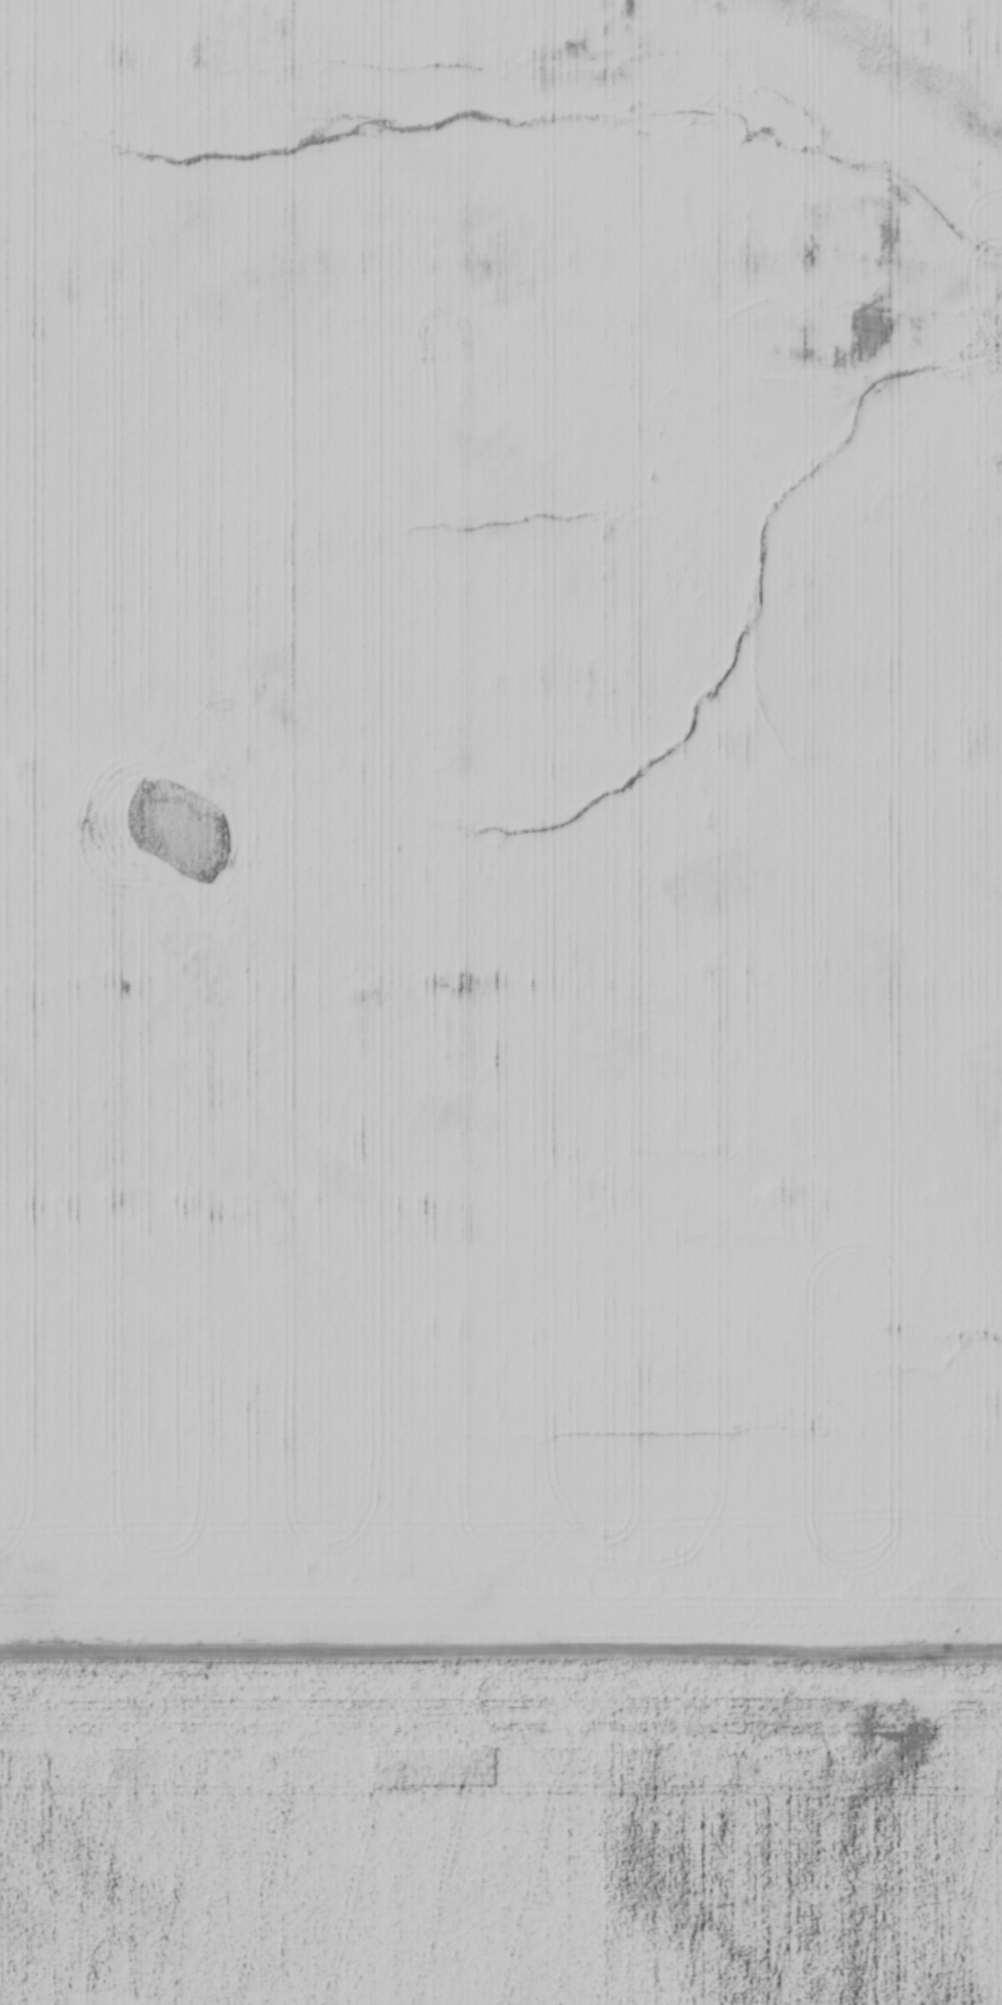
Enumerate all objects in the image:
road: (501, 1660)

